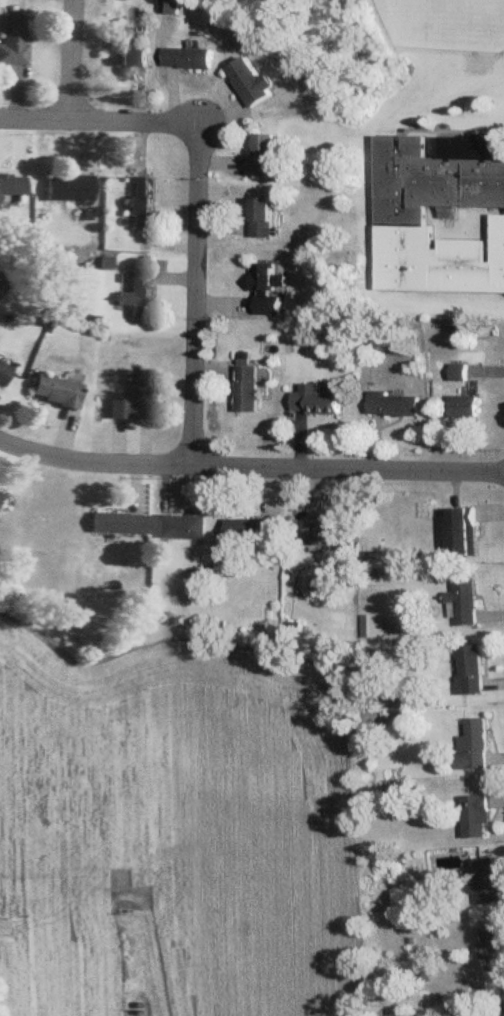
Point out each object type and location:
building: (11, 41)
building: (128, 53)
road: (71, 60)
building: (192, 60)
building: (254, 83)
road: (35, 120)
road: (118, 121)
building: (269, 156)
building: (11, 187)
building: (66, 190)
building: (429, 202)
building: (139, 205)
building: (265, 219)
building: (498, 255)
road: (479, 264)
road: (200, 284)
building: (269, 291)
building: (135, 296)
building: (2, 377)
building: (249, 391)
building: (53, 393)
building: (132, 401)
building: (317, 402)
building: (394, 405)
building: (464, 408)
road: (250, 469)
building: (116, 525)
building: (181, 527)
building: (463, 531)
building: (253, 532)
building: (327, 534)
building: (467, 603)
building: (375, 627)
building: (471, 670)
building: (477, 746)
building: (478, 817)
building: (488, 881)
building: (494, 947)

